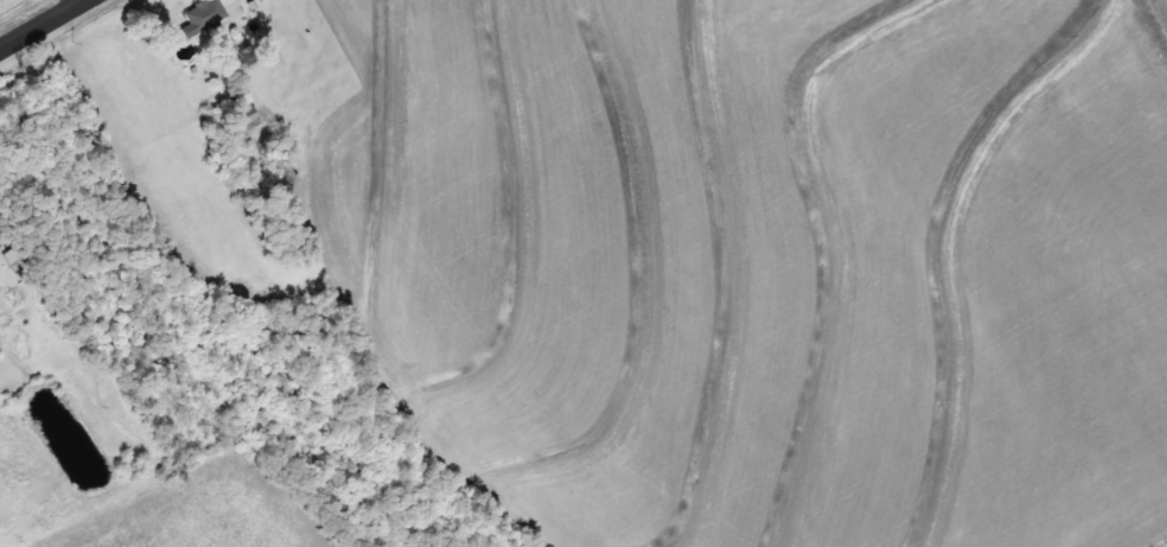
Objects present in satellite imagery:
building: (204, 13)
road: (43, 24)
building: (247, 114)
crop: (778, 265)
crop: (218, 513)

